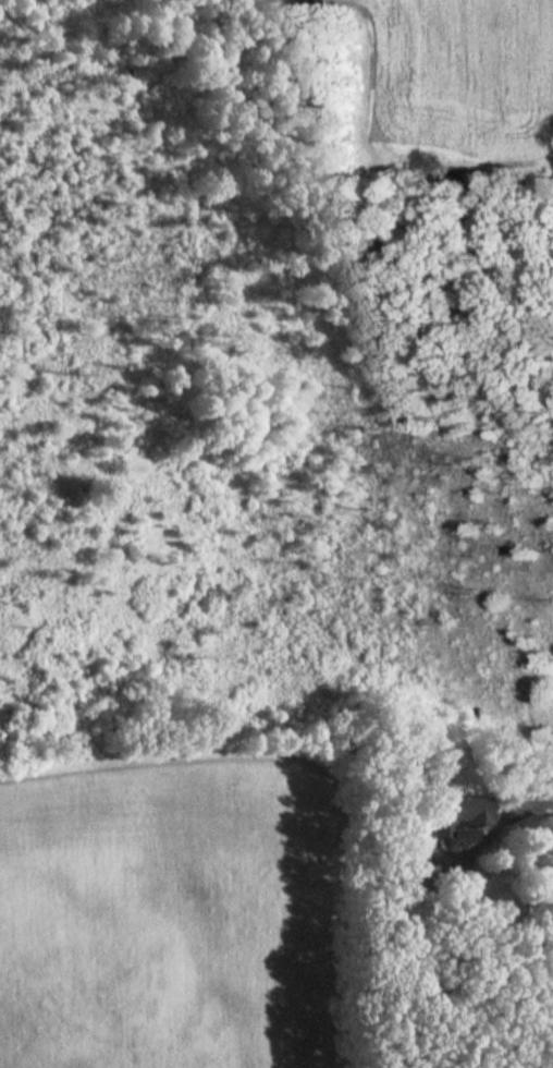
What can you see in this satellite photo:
building: (454, 813)
road: (537, 826)

